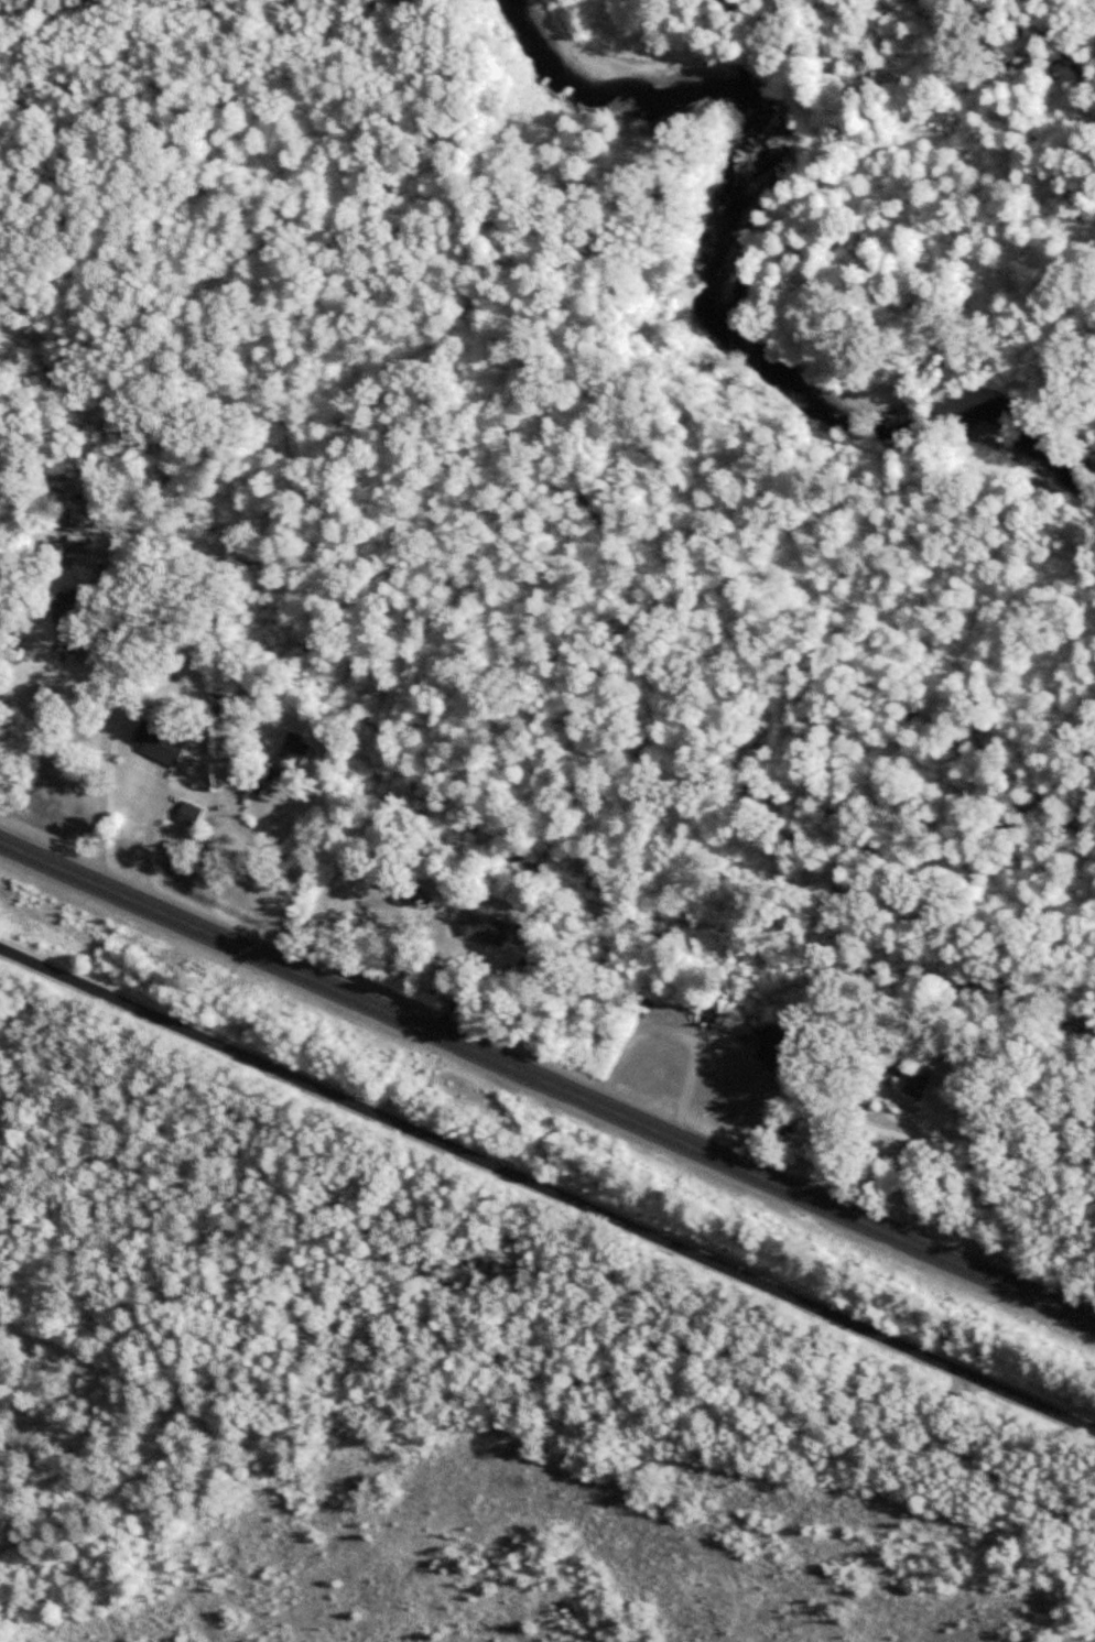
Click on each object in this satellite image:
river: (726, 293)
building: (59, 508)
building: (54, 554)
building: (71, 607)
road: (107, 733)
building: (161, 741)
building: (291, 755)
building: (191, 813)
road: (150, 833)
road: (268, 878)
building: (488, 926)
road: (672, 1031)
building: (774, 1047)
building: (929, 1075)
road: (547, 1078)
road: (899, 1124)
road: (547, 1187)
road: (175, 1395)
road: (987, 1467)

